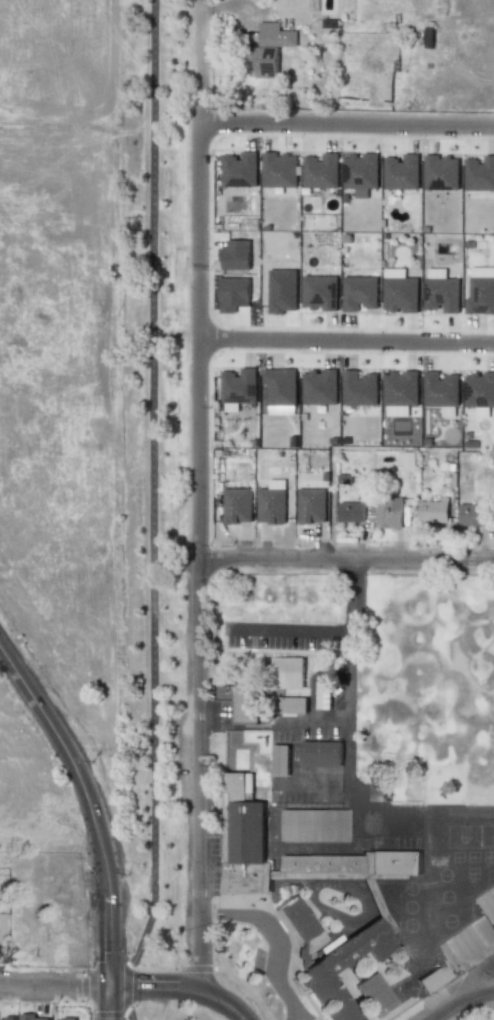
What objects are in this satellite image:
road: (198, 3)
building: (268, 49)
road: (346, 125)
building: (239, 168)
building: (278, 169)
building: (320, 170)
building: (402, 172)
building: (441, 172)
building: (360, 173)
building: (480, 173)
building: (235, 255)
building: (282, 290)
building: (399, 290)
building: (440, 290)
building: (481, 291)
building: (319, 292)
building: (359, 292)
building: (233, 293)
road: (346, 341)
building: (239, 385)
building: (280, 385)
building: (319, 386)
building: (359, 388)
building: (399, 391)
building: (479, 391)
building: (441, 392)
building: (406, 461)
road: (198, 498)
building: (271, 502)
building: (237, 505)
building: (310, 505)
building: (432, 510)
building: (350, 511)
building: (388, 511)
road: (153, 512)
building: (472, 514)
road: (345, 561)
road: (288, 630)
building: (287, 672)
building: (246, 703)
road: (348, 703)
building: (291, 704)
road: (313, 724)
building: (321, 752)
building: (280, 760)
road: (86, 806)
building: (313, 824)
building: (243, 837)
building: (352, 864)
building: (488, 903)
building: (300, 927)
building: (1, 929)
road: (281, 937)
building: (470, 943)
building: (317, 969)
road: (480, 973)
road: (51, 986)
road: (178, 990)
building: (374, 994)
road: (103, 1003)
road: (467, 1004)
building: (31, 1017)
building: (7, 1019)
building: (65, 1019)

